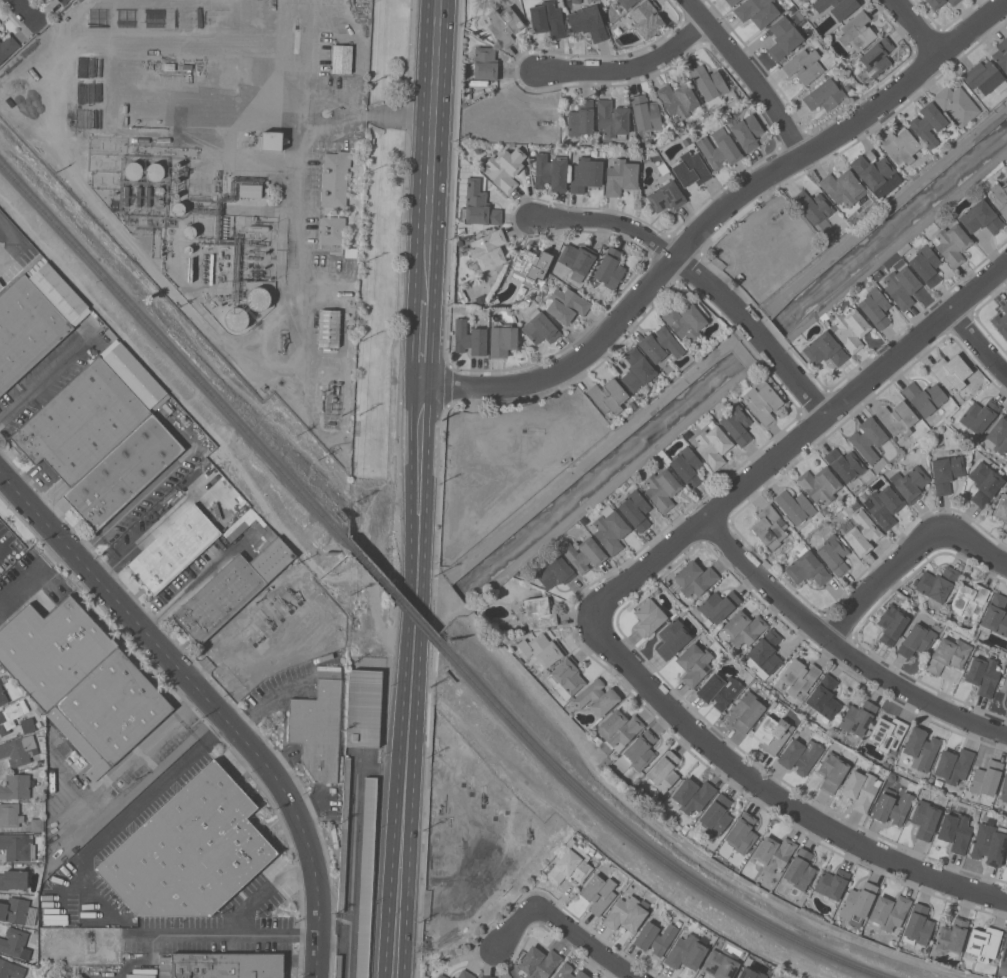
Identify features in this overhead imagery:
building: (63, 1)
building: (731, 2)
building: (951, 2)
building: (626, 3)
building: (934, 3)
road: (33, 5)
building: (836, 7)
building: (756, 11)
building: (646, 18)
building: (547, 19)
building: (587, 22)
building: (504, 24)
road: (916, 26)
building: (856, 31)
building: (783, 37)
building: (7, 46)
park: (387, 52)
building: (1001, 54)
building: (876, 56)
building: (341, 58)
building: (486, 63)
road: (629, 64)
building: (808, 64)
building: (168, 65)
building: (187, 66)
road: (748, 75)
building: (984, 78)
building: (708, 84)
building: (824, 94)
building: (678, 101)
building: (956, 103)
building: (124, 108)
road: (343, 112)
building: (645, 113)
building: (581, 118)
building: (612, 119)
building: (927, 123)
building: (747, 131)
road: (297, 138)
building: (271, 140)
building: (900, 146)
building: (719, 148)
road: (433, 149)
building: (177, 164)
building: (505, 167)
building: (691, 169)
building: (133, 170)
storage tank: (133, 170)
building: (872, 170)
building: (154, 171)
storage tank: (154, 171)
building: (550, 172)
building: (585, 174)
building: (620, 177)
building: (335, 178)
building: (176, 179)
building: (842, 187)
building: (159, 190)
building: (250, 190)
building: (175, 194)
building: (125, 195)
building: (138, 196)
building: (147, 196)
building: (666, 196)
building: (1000, 197)
building: (158, 203)
building: (478, 205)
building: (812, 205)
building: (178, 208)
storage tank: (178, 208)
road: (714, 212)
petroleum well: (777, 213)
road: (879, 217)
building: (980, 217)
building: (258, 227)
building: (332, 230)
building: (189, 231)
storage tank: (189, 231)
road: (651, 240)
building: (951, 243)
road: (12, 245)
building: (187, 248)
building: (488, 249)
building: (577, 258)
building: (925, 264)
building: (532, 265)
building: (609, 268)
building: (901, 286)
building: (258, 298)
storage tank: (258, 298)
park: (375, 301)
building: (566, 304)
building: (875, 307)
building: (34, 318)
building: (236, 318)
storage tank: (236, 318)
building: (686, 319)
building: (1001, 321)
building: (328, 327)
building: (539, 327)
building: (849, 328)
building: (110, 334)
road: (761, 337)
building: (469, 338)
building: (501, 340)
petroleum well: (282, 342)
road: (425, 343)
building: (660, 345)
road: (977, 346)
building: (824, 349)
railway: (174, 350)
building: (636, 369)
road: (44, 371)
building: (951, 371)
road: (803, 385)
building: (608, 395)
building: (924, 397)
building: (763, 402)
building: (90, 414)
building: (979, 415)
building: (897, 418)
building: (736, 424)
building: (998, 435)
building: (868, 438)
road: (797, 441)
building: (712, 444)
road: (421, 450)
road: (583, 458)
building: (844, 463)
building: (686, 465)
building: (123, 471)
building: (946, 472)
building: (984, 482)
building: (910, 483)
building: (819, 484)
building: (661, 488)
road: (146, 489)
building: (883, 505)
building: (794, 506)
building: (1000, 507)
building: (635, 510)
building: (1006, 525)
building: (769, 527)
building: (610, 529)
road: (149, 530)
building: (235, 530)
building: (862, 532)
road: (973, 544)
building: (173, 548)
building: (583, 554)
building: (833, 554)
building: (807, 568)
road: (32, 572)
building: (554, 572)
building: (694, 578)
road: (877, 581)
building: (937, 585)
road: (186, 589)
building: (230, 589)
railway: (395, 592)
petroleum well: (293, 595)
building: (968, 600)
petroleum well: (284, 604)
building: (717, 606)
building: (537, 613)
building: (995, 616)
building: (648, 617)
petroleum well: (268, 623)
building: (891, 623)
building: (743, 627)
building: (672, 638)
petroleum well: (258, 639)
building: (916, 640)
road: (840, 648)
building: (53, 649)
building: (541, 650)
building: (764, 654)
building: (947, 655)
building: (694, 663)
building: (983, 674)
building: (799, 676)
building: (565, 677)
building: (1, 680)
building: (1004, 683)
building: (719, 689)
building: (3, 696)
building: (824, 696)
building: (596, 697)
road: (212, 699)
building: (1006, 703)
building: (363, 707)
building: (38, 710)
building: (109, 711)
building: (747, 711)
building: (11, 715)
building: (858, 717)
building: (27, 724)
building: (318, 727)
building: (619, 727)
building: (887, 732)
building: (772, 733)
road: (206, 742)
road: (406, 745)
building: (920, 748)
building: (18, 750)
building: (639, 751)
building: (800, 755)
building: (953, 764)
building: (663, 771)
building: (831, 771)
building: (986, 778)
building: (15, 786)
building: (1004, 788)
building: (860, 789)
building: (692, 795)
road: (777, 795)
petroleum well: (483, 796)
building: (969, 796)
building: (984, 800)
building: (891, 806)
building: (716, 814)
building: (10, 815)
building: (924, 818)
building: (36, 824)
petroleum well: (529, 830)
building: (954, 832)
building: (742, 833)
railway: (640, 841)
building: (989, 843)
building: (17, 846)
building: (183, 851)
building: (774, 853)
building: (572, 861)
building: (799, 869)
building: (366, 877)
building: (13, 879)
road: (270, 883)
building: (831, 883)
building: (598, 892)
building: (857, 903)
building: (14, 910)
building: (889, 911)
building: (626, 913)
road: (92, 922)
building: (918, 924)
road: (516, 931)
building: (1006, 931)
building: (951, 935)
building: (654, 937)
petroleum well: (89, 938)
building: (13, 941)
building: (983, 942)
road: (588, 943)
building: (685, 952)
building: (1004, 960)
building: (538, 962)
building: (719, 964)
building: (221, 965)
building: (10, 969)
building: (568, 972)
building: (751, 972)
building: (465, 974)
building: (440, 976)
building: (487, 976)
building: (451, 977)

